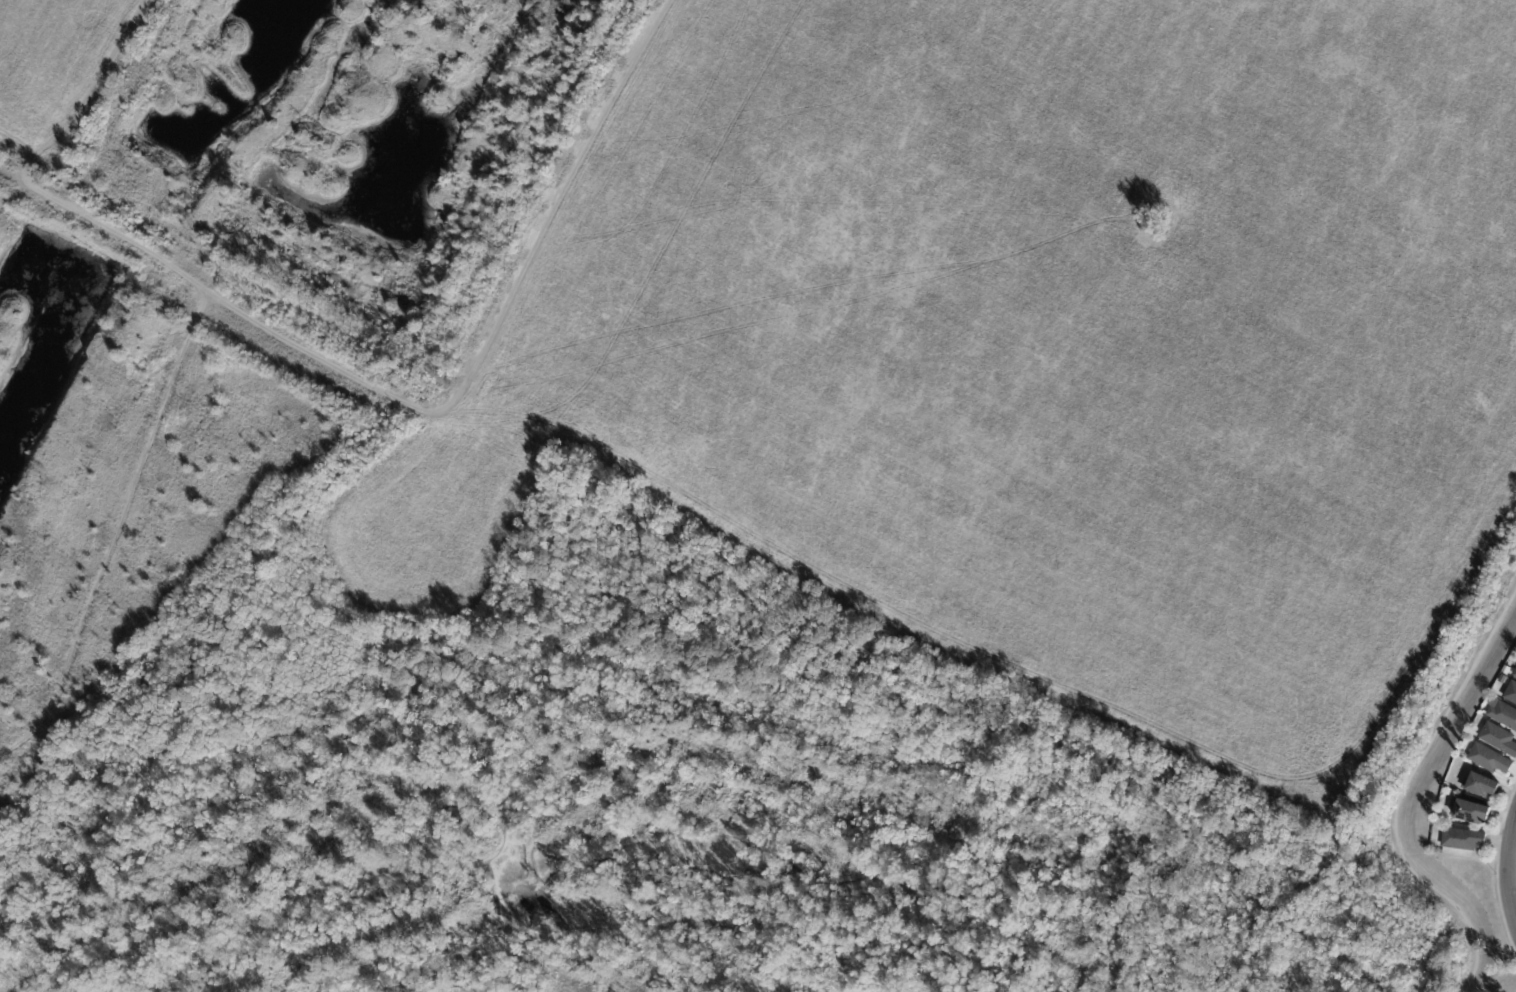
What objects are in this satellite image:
building: (1515, 673)
building: (1501, 679)
building: (1511, 692)
building: (1503, 714)
building: (1499, 738)
building: (1489, 758)
building: (1479, 784)
building: (1469, 810)
building: (1462, 839)
road: (1458, 861)
road: (1509, 873)
park: (1472, 950)

